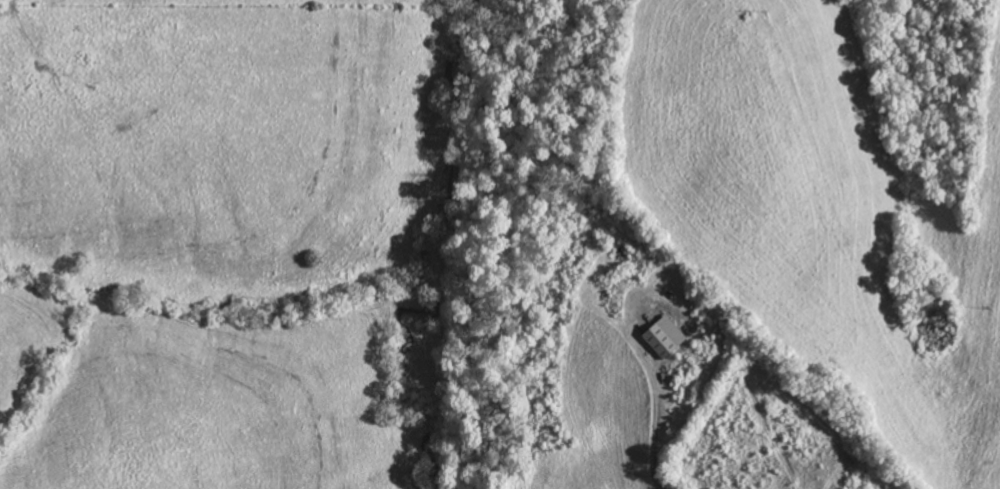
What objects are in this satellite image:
building: (667, 338)

